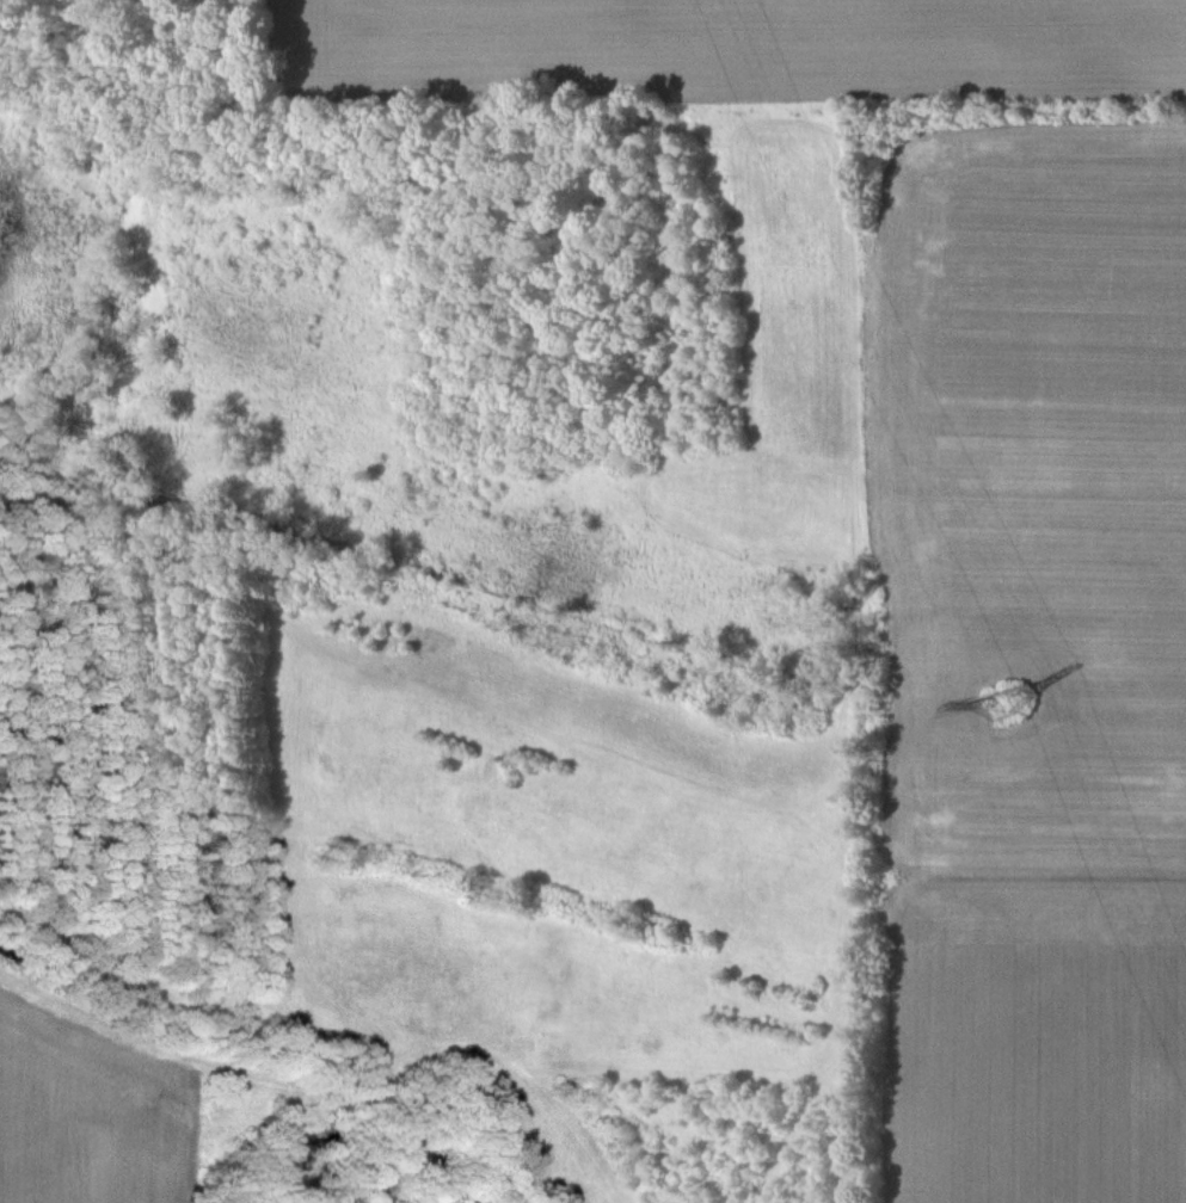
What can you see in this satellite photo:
power tower: (1021, 695)

